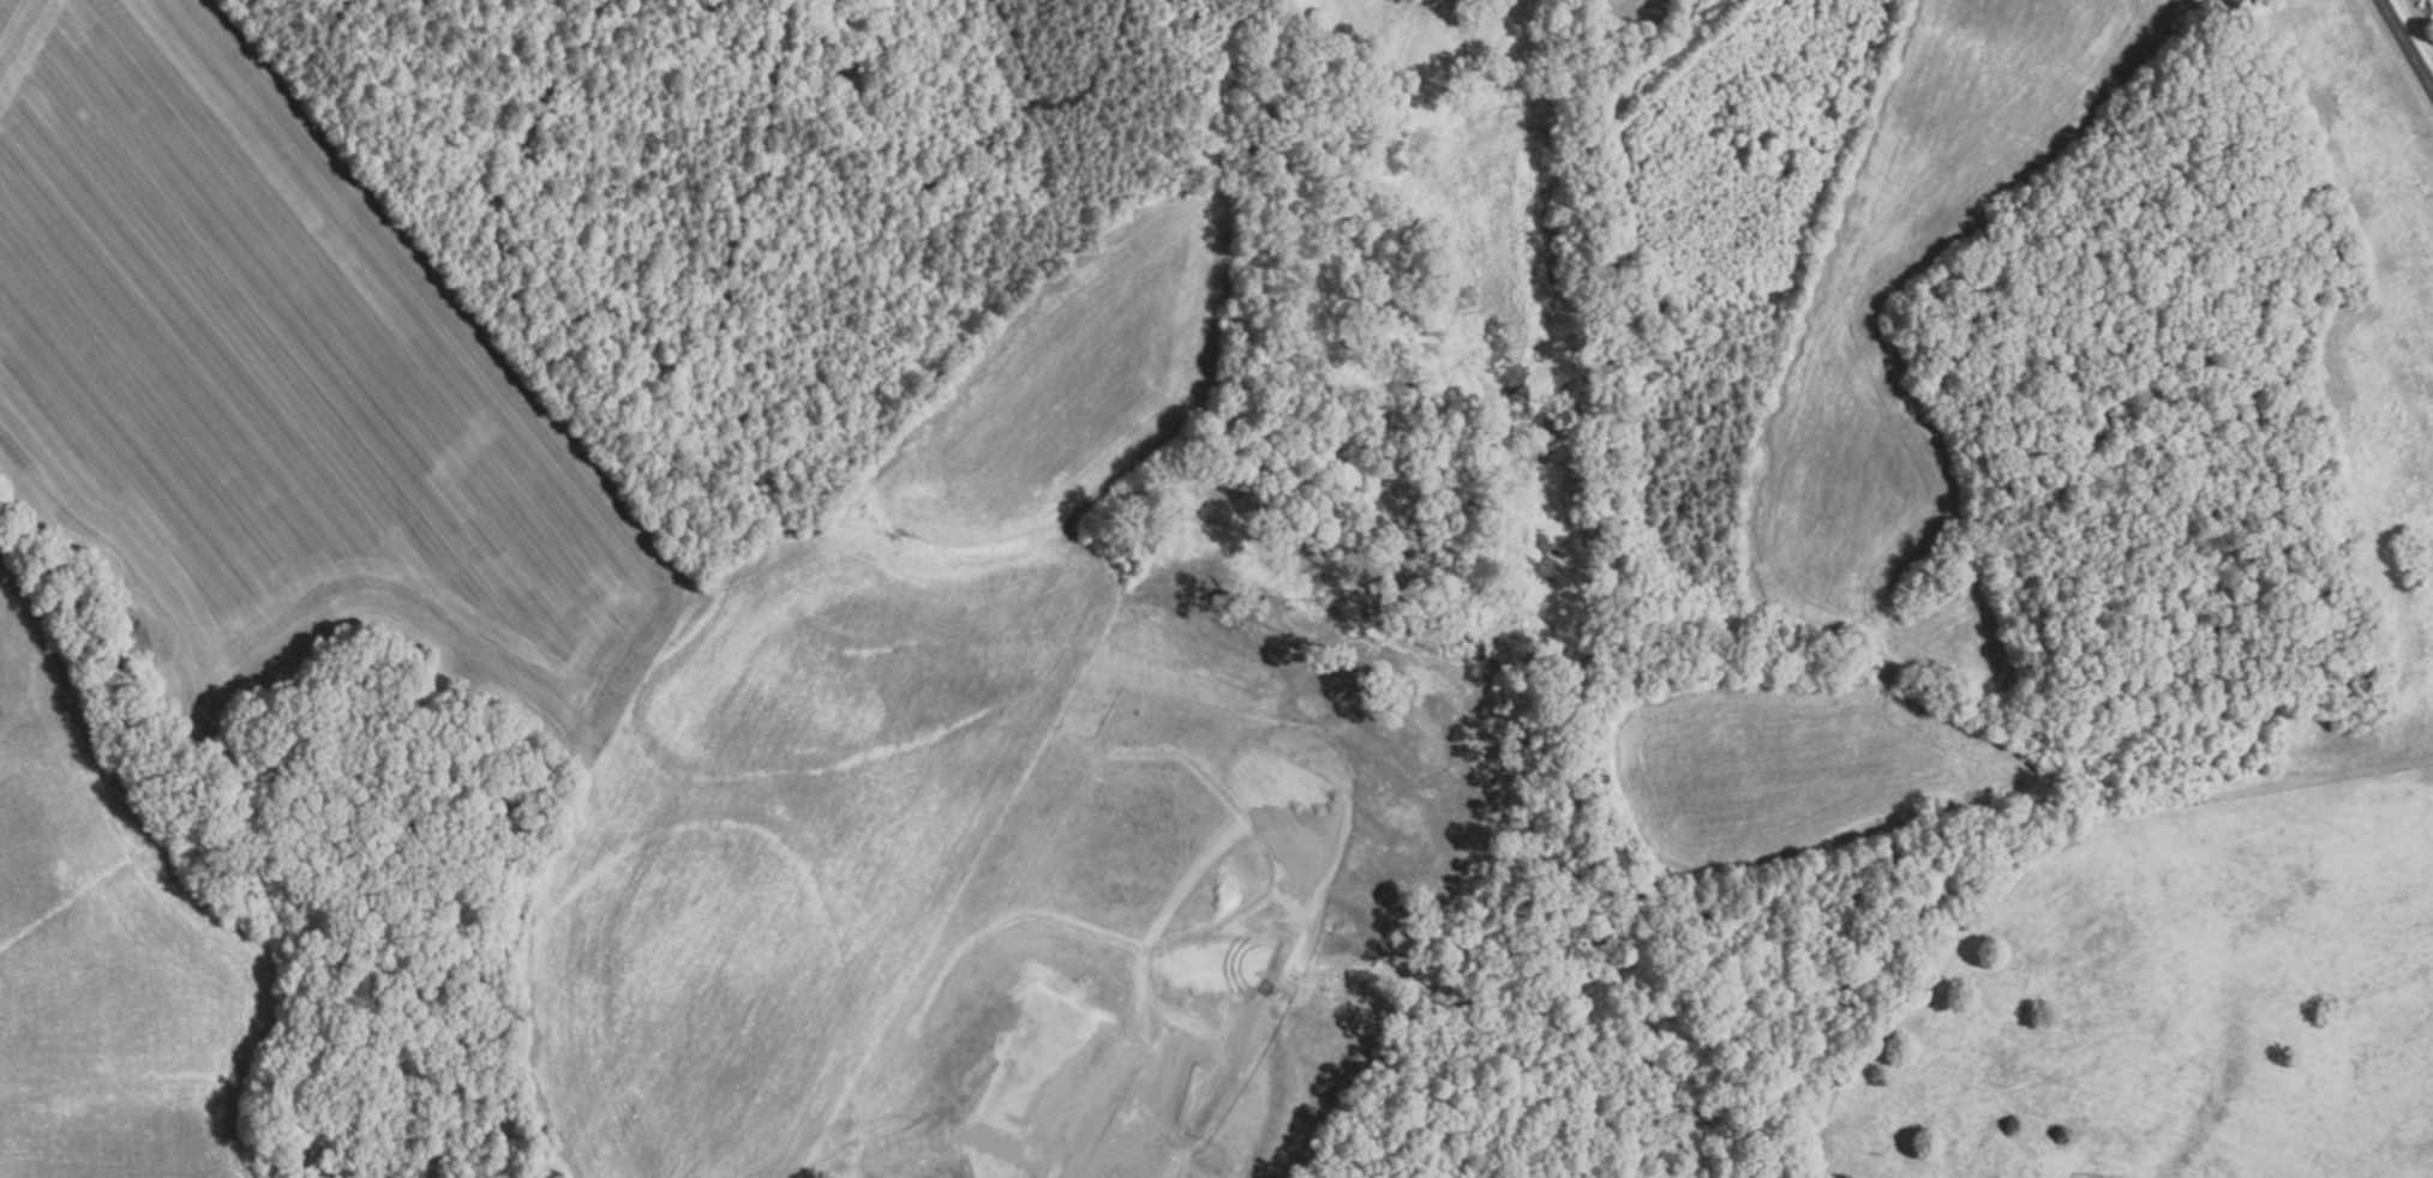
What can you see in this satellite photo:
building: (2230, 6)
road: (2407, 44)

